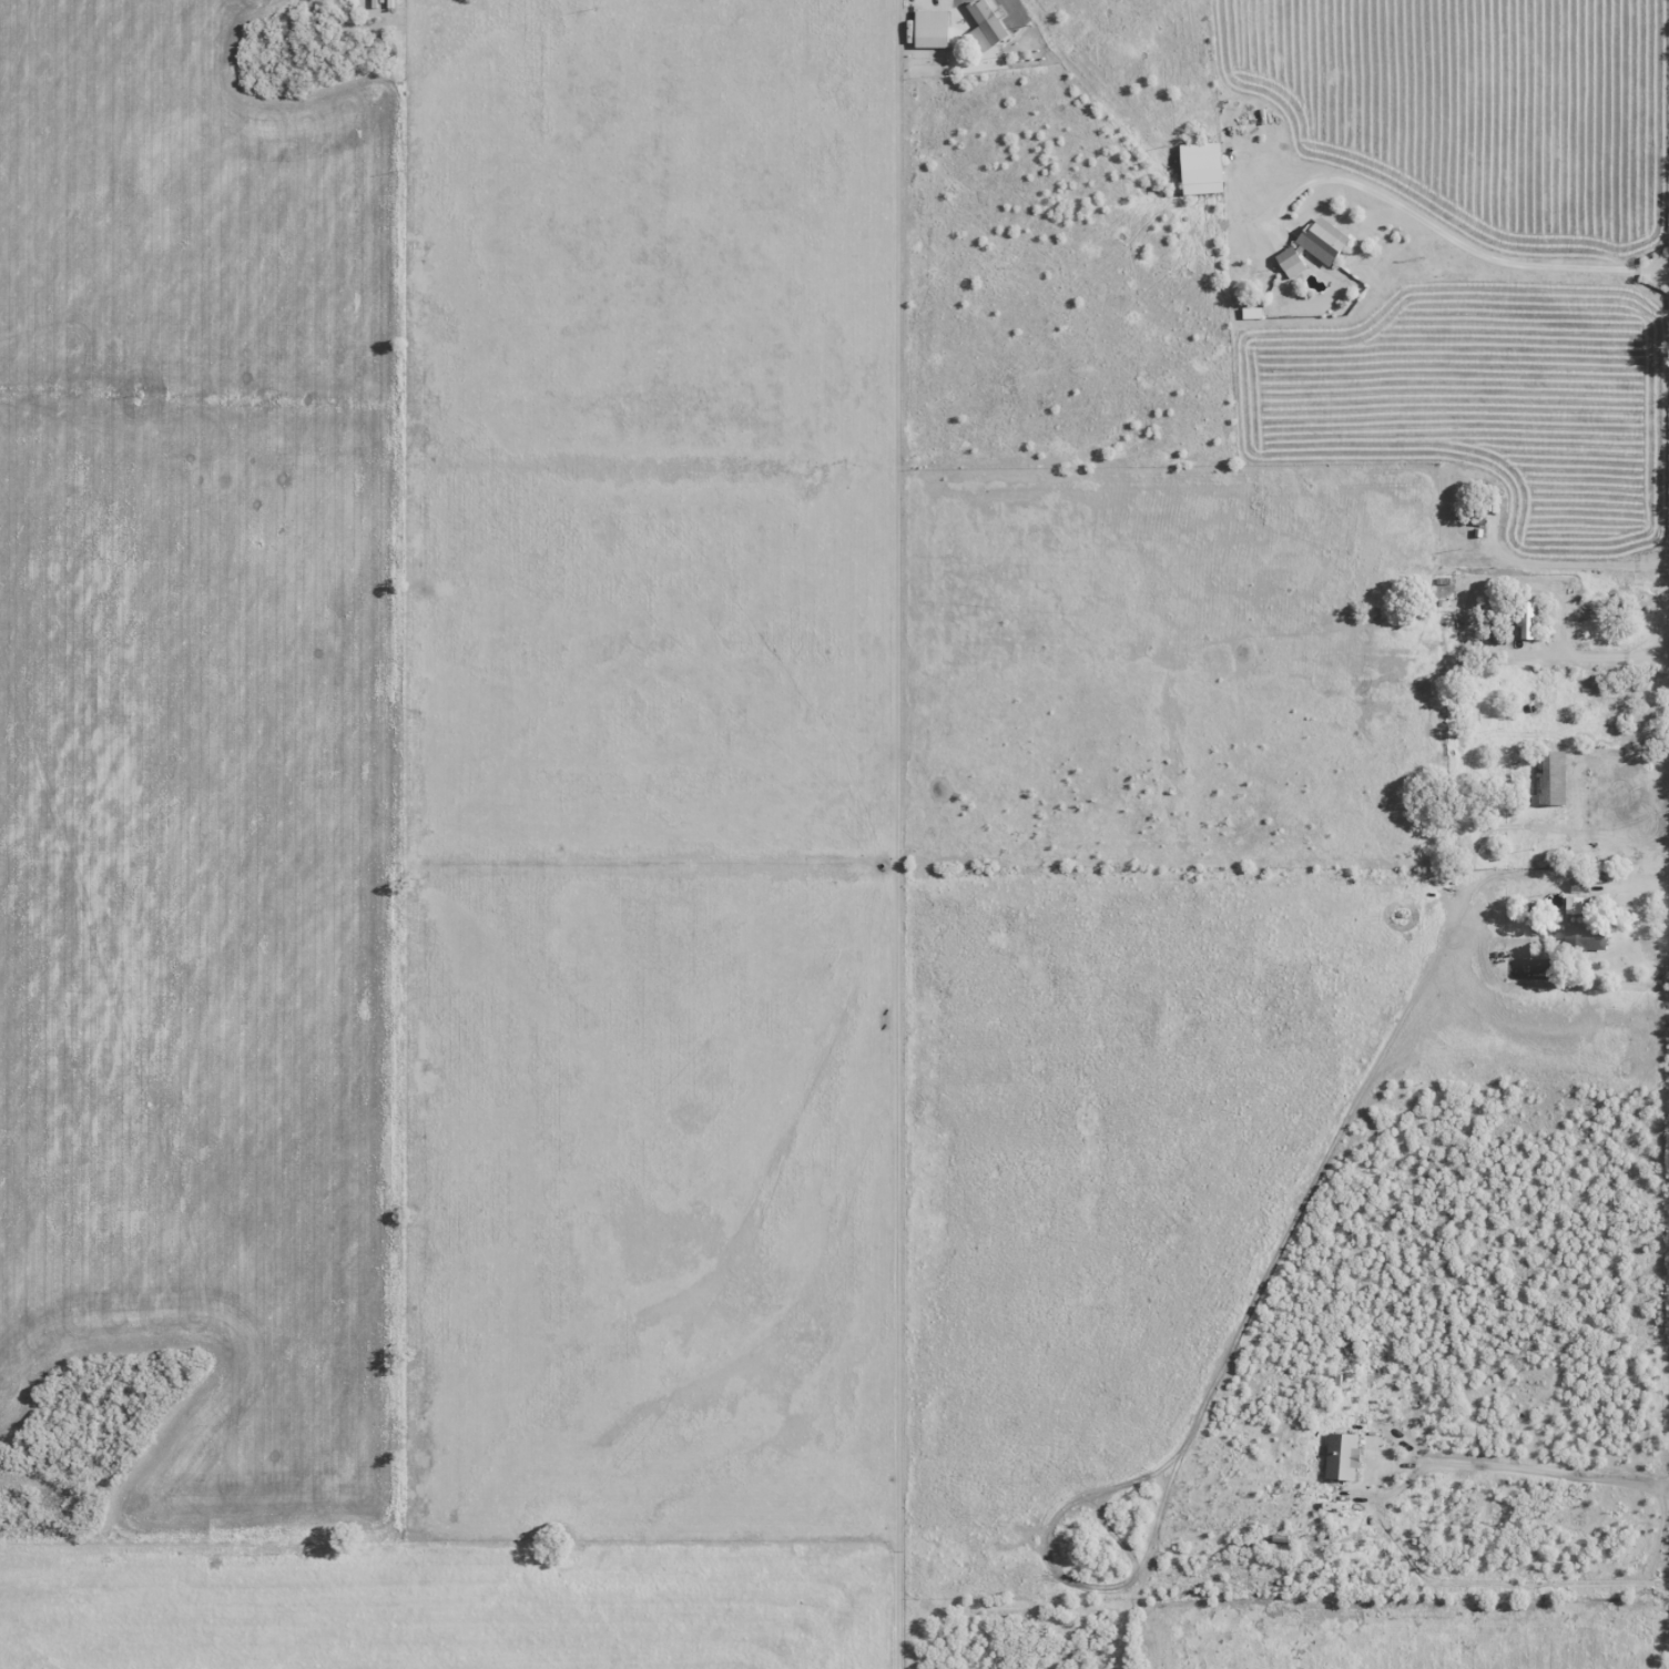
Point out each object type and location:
building: (989, 23)
road: (328, 47)
building: (1207, 170)
road: (1449, 230)
building: (1326, 242)
building: (1293, 263)
road: (1573, 560)
building: (1526, 619)
road: (1588, 661)
building: (1549, 778)
road: (896, 834)
building: (1584, 939)
building: (1339, 1457)
road: (1556, 1469)
road: (1490, 1583)

